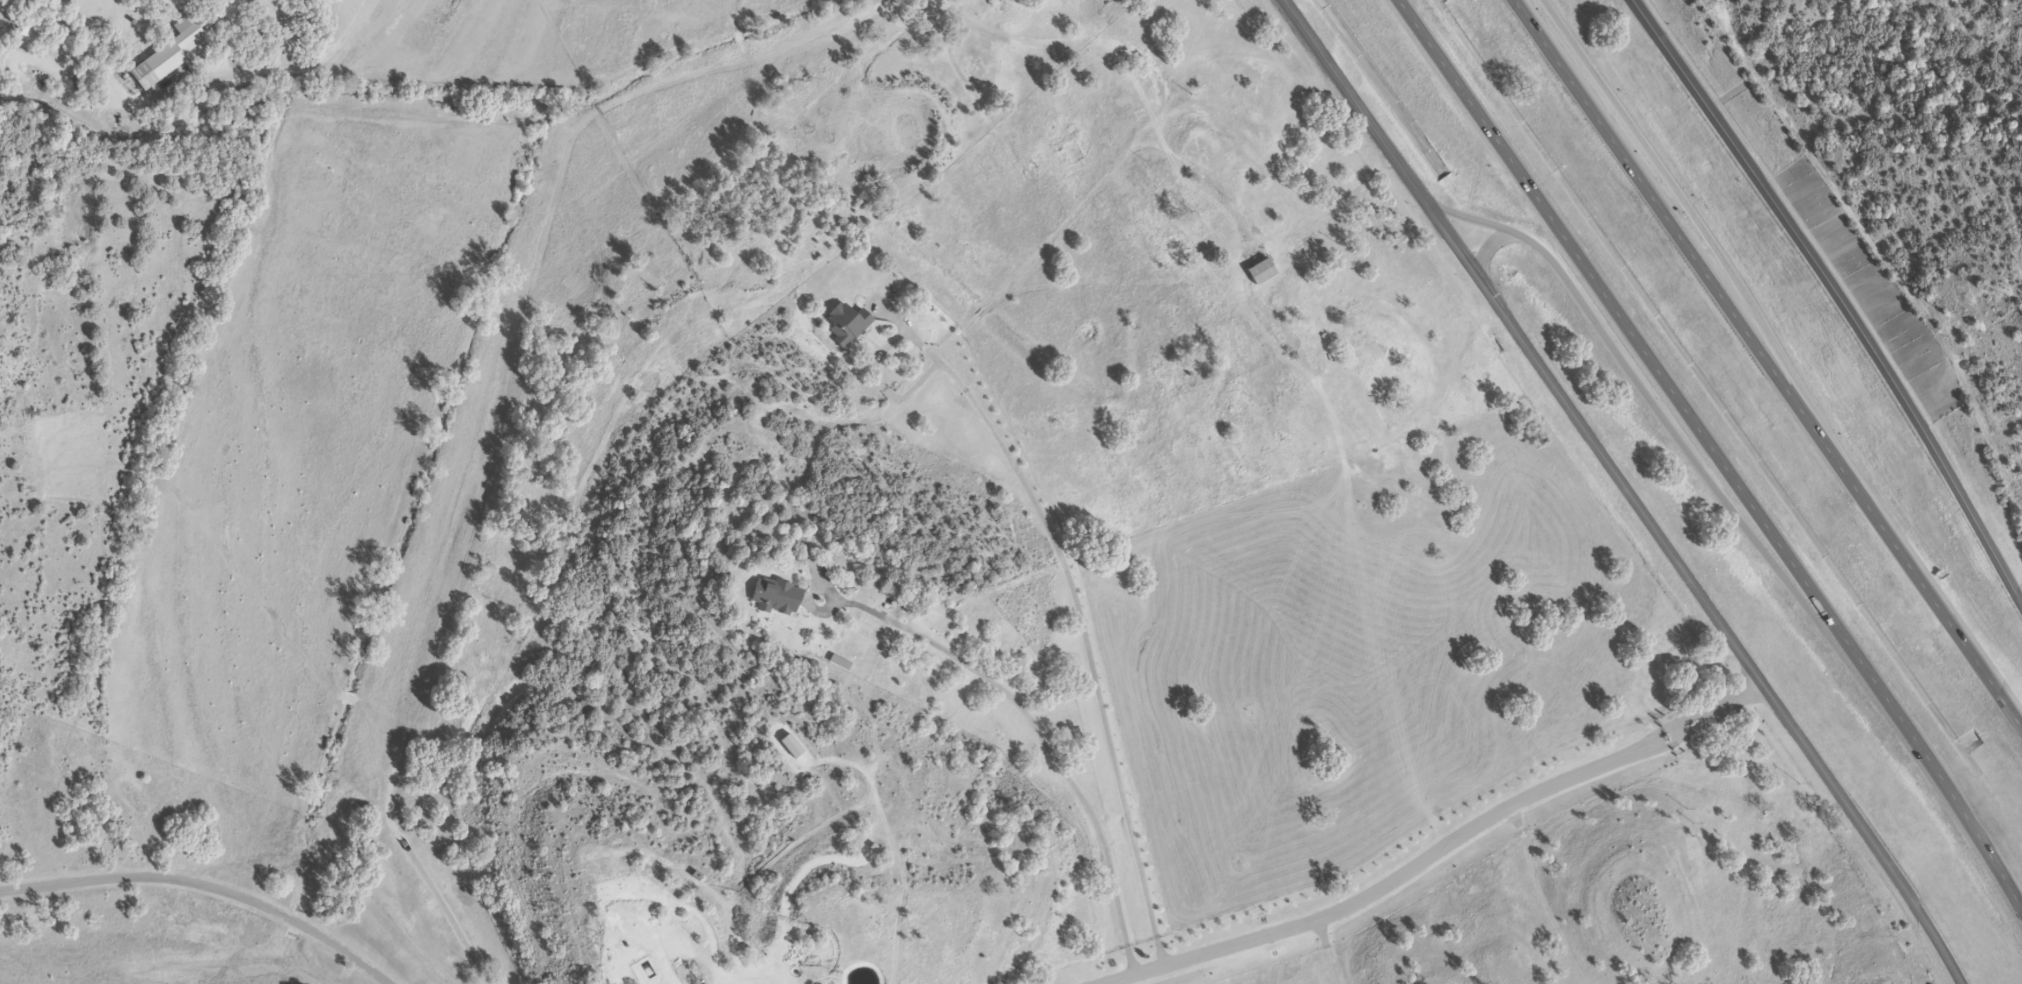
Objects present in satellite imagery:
building: (168, 55)
road: (1355, 103)
road: (1709, 238)
road: (1491, 244)
road: (1685, 244)
building: (1261, 273)
road: (1834, 299)
road: (1612, 305)
building: (847, 325)
road: (1638, 387)
road: (1696, 595)
building: (777, 599)
road: (1935, 606)
road: (1082, 631)
building: (584, 713)
road: (1043, 730)
road: (1921, 766)
road: (1436, 853)
road: (205, 888)

